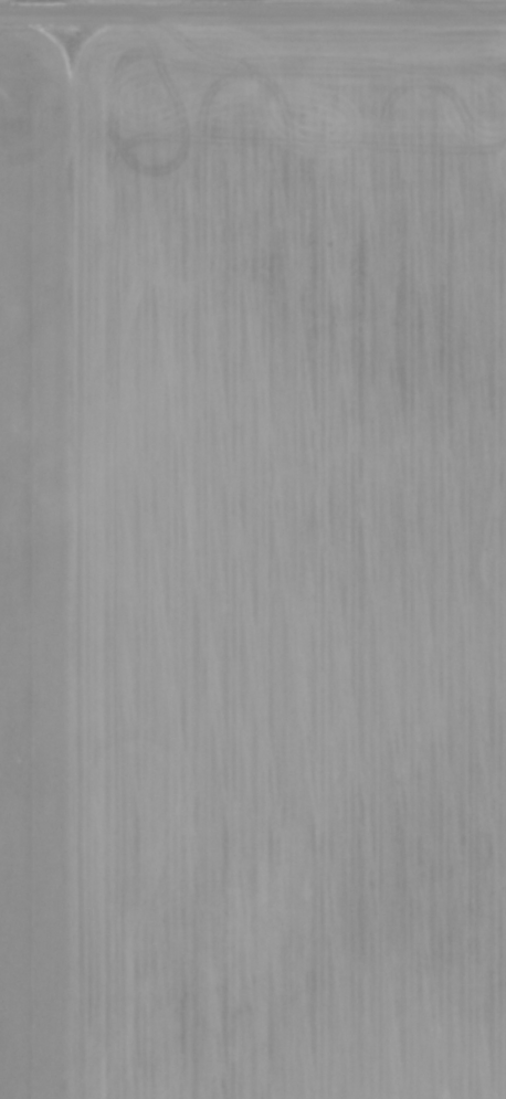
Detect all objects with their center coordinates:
road: (253, 14)
crop: (253, 563)

